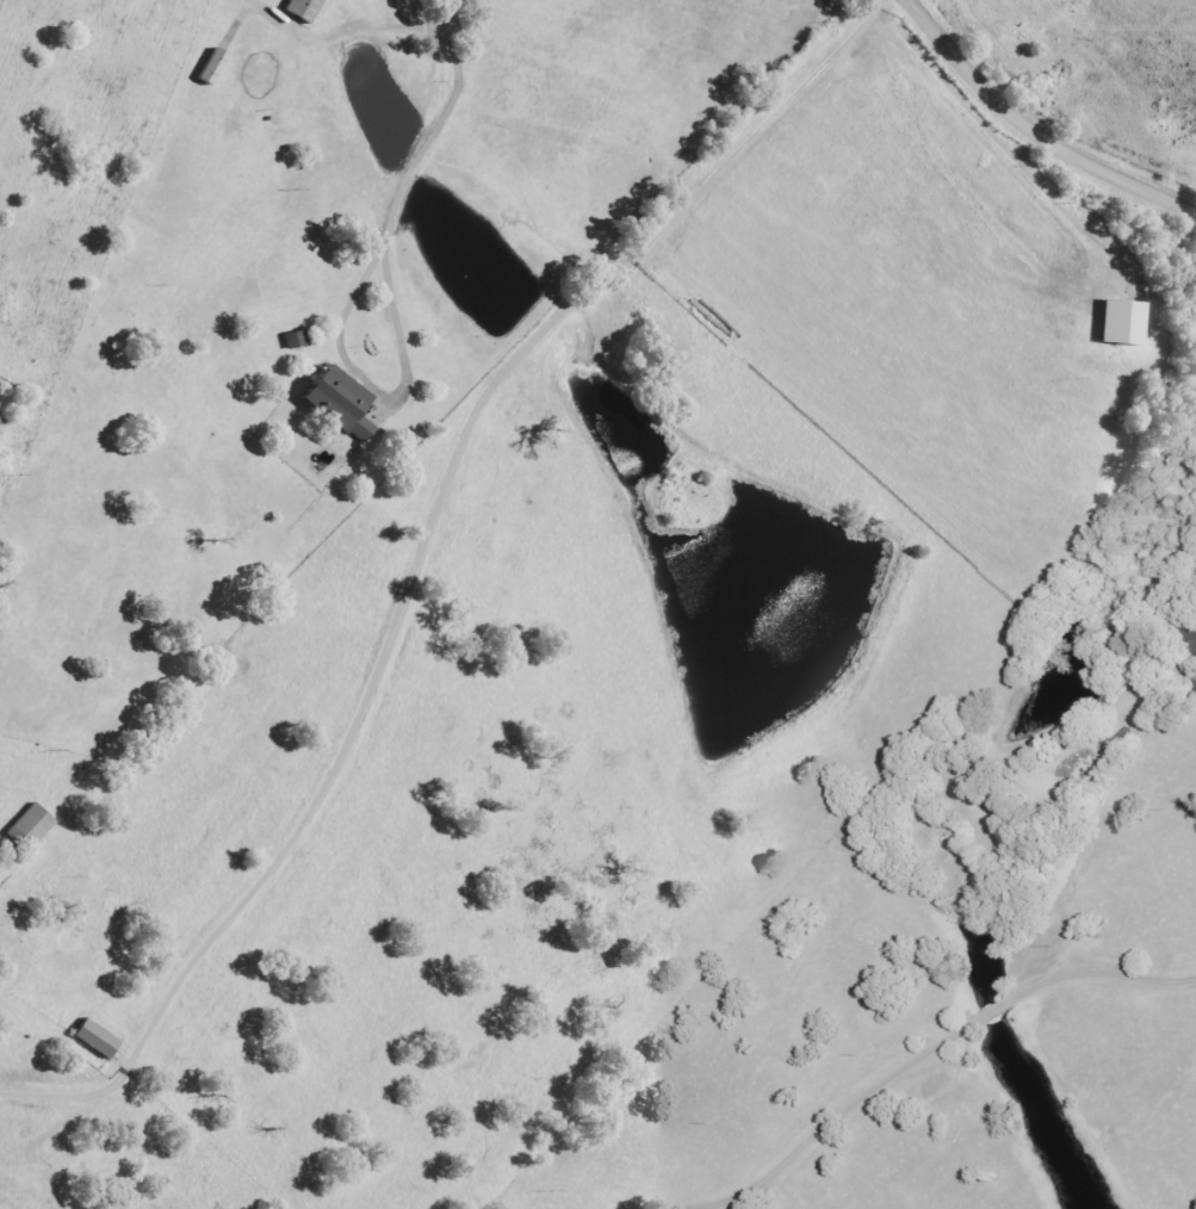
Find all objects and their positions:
building: (304, 10)
road: (433, 119)
road: (989, 126)
road: (1035, 130)
building: (1122, 323)
road: (379, 382)
building: (337, 404)
road: (416, 550)
building: (1195, 630)
building: (29, 827)
building: (95, 1040)
road: (923, 1040)

